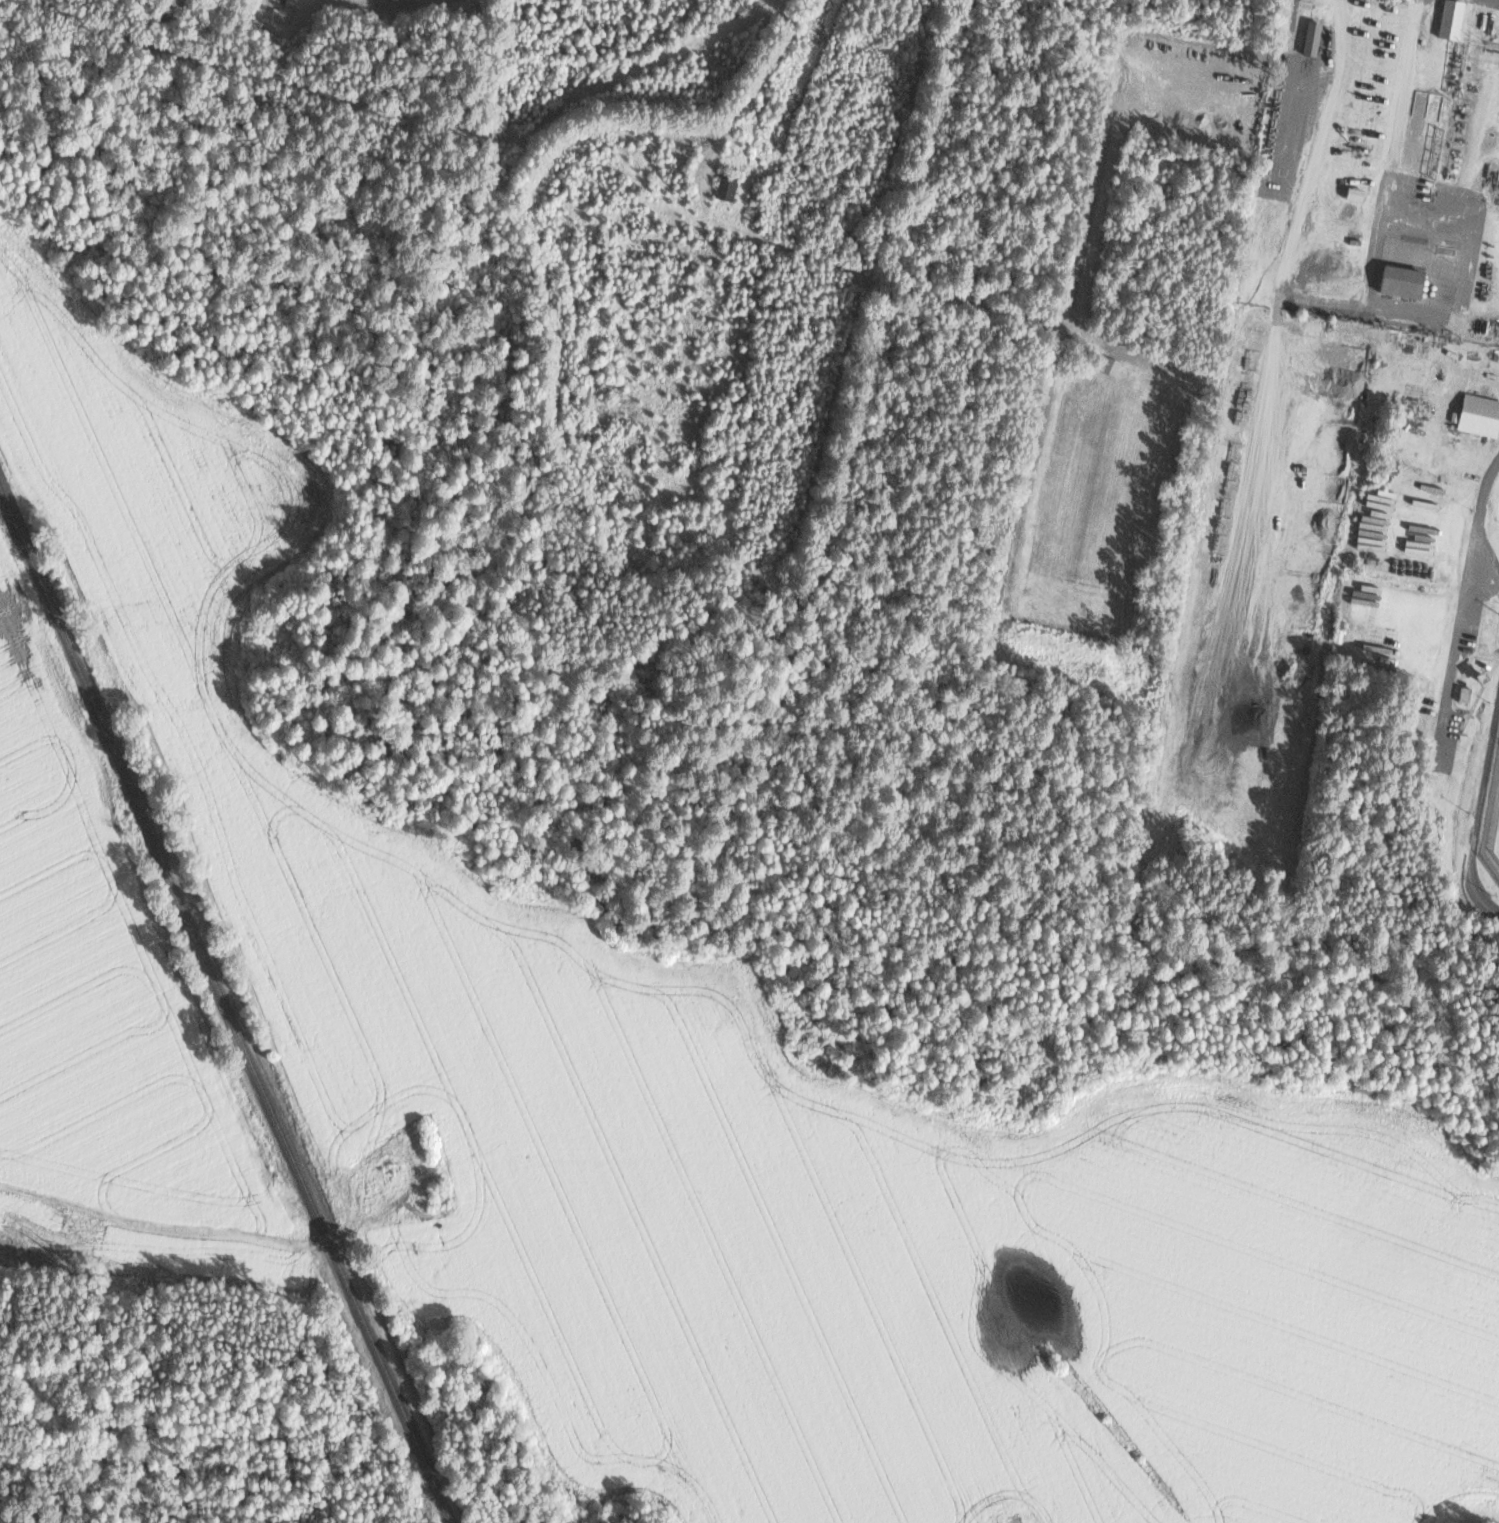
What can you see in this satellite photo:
building: (1451, 19)
building: (1312, 38)
building: (727, 187)
building: (1403, 281)
building: (1111, 366)
building: (1480, 415)
road: (1461, 582)
building: (1465, 694)
railway: (225, 1004)
road: (178, 1226)

